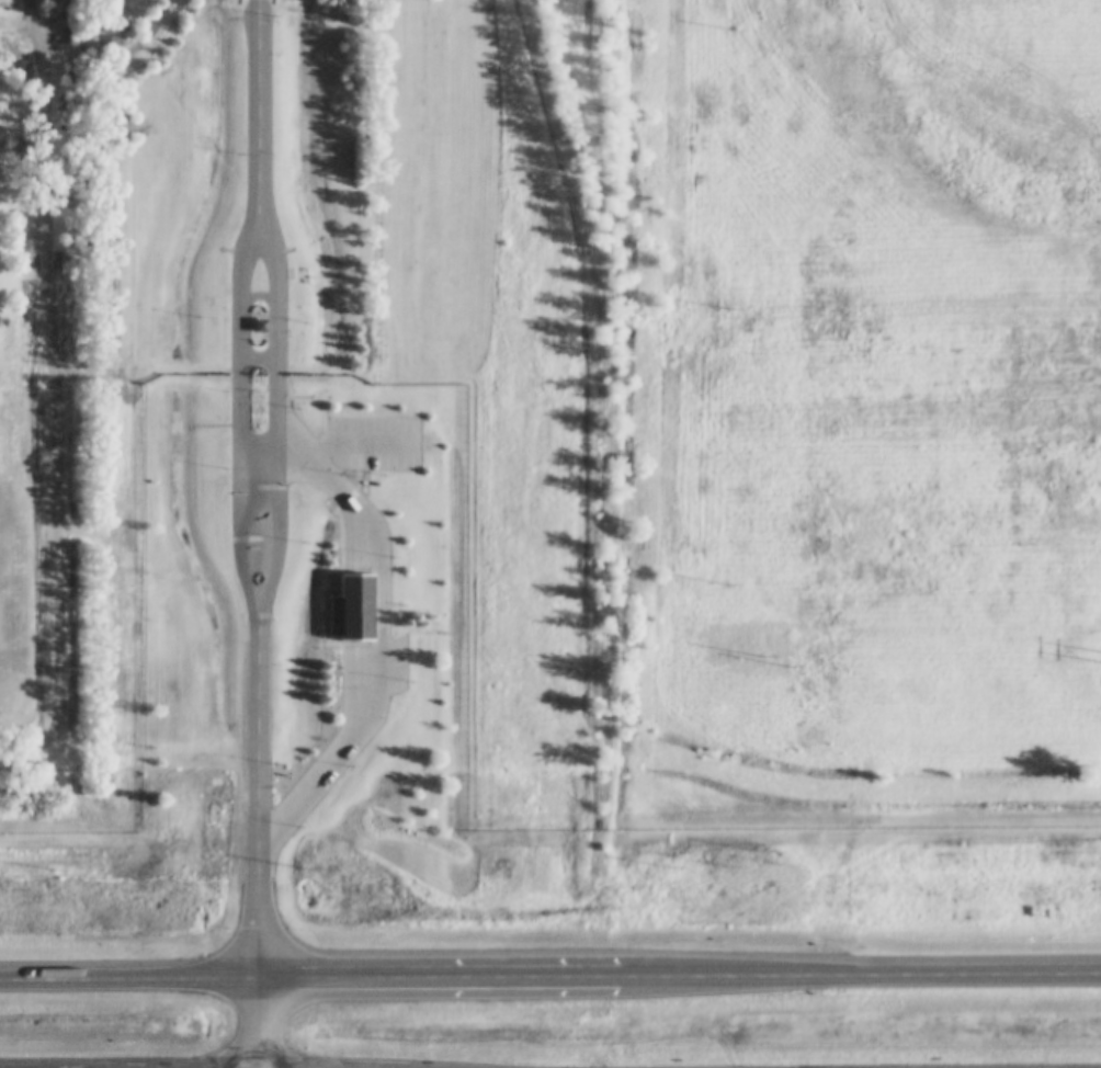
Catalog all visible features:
building: (42, 1)
road: (259, 107)
park: (24, 186)
building: (258, 325)
railway: (599, 413)
railway: (613, 414)
road: (240, 417)
road: (276, 417)
parking lot: (372, 443)
building: (351, 611)
road: (382, 623)
parking lot: (397, 664)
road: (260, 795)
road: (549, 969)
road: (260, 1020)

